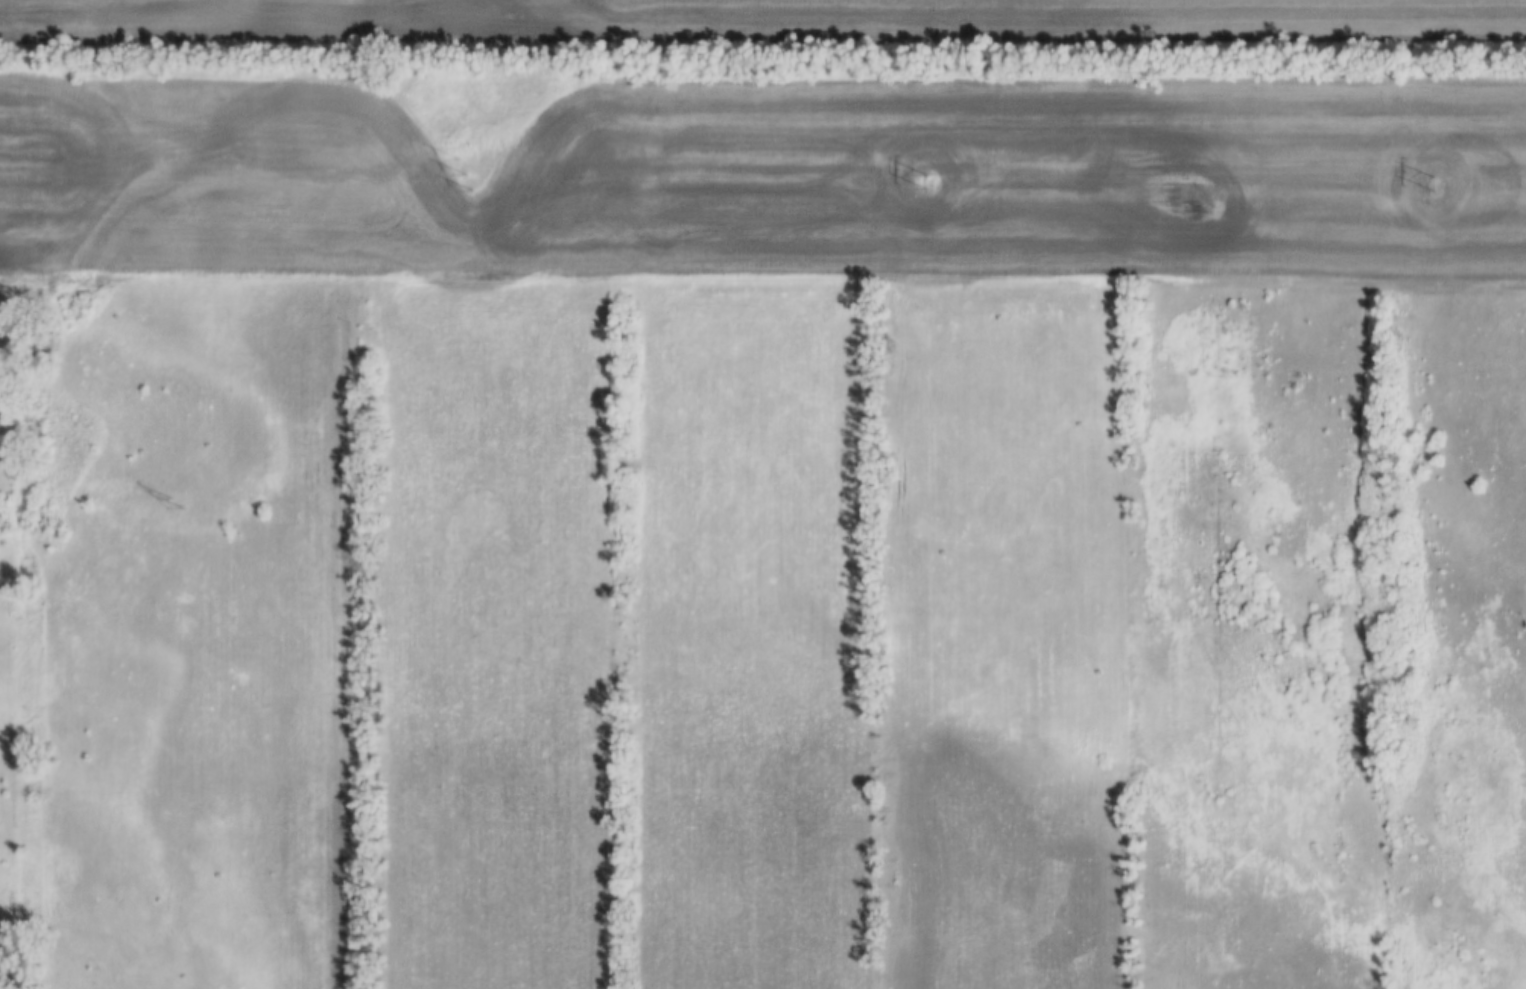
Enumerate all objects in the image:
power tower: (467, 179)
power tower: (923, 182)
power tower: (1430, 185)
road: (762, 283)
power tower: (176, 502)

